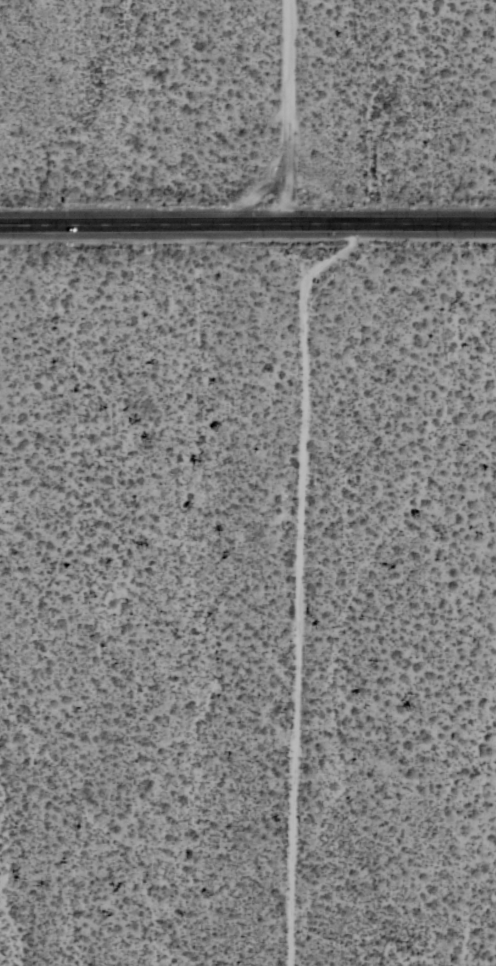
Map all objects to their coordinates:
road: (286, 113)
road: (248, 225)

